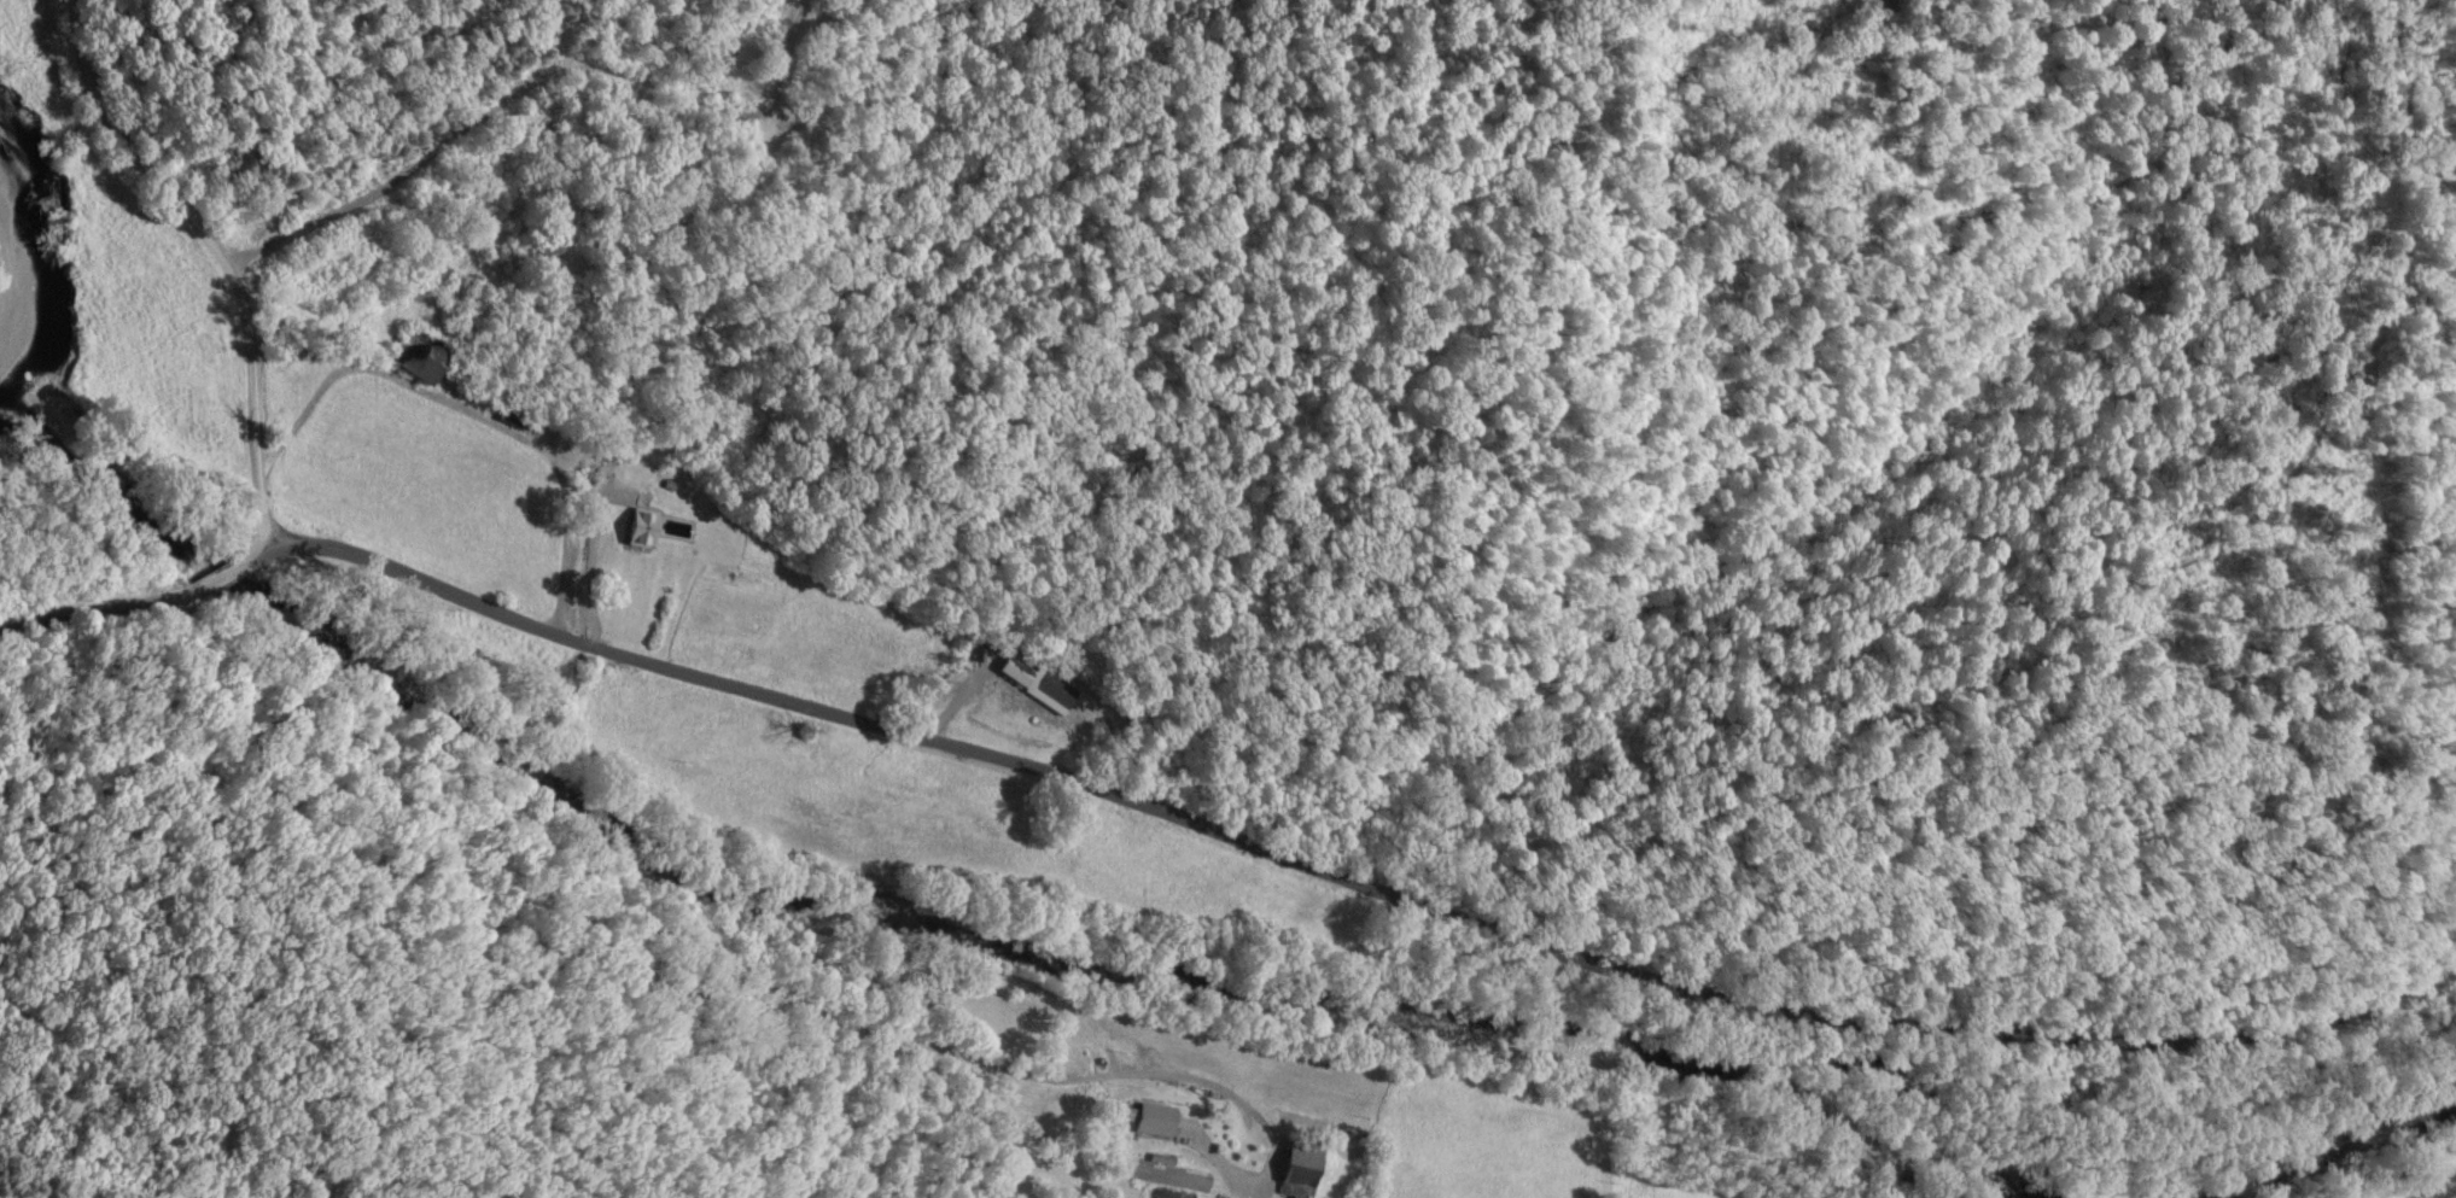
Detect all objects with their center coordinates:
road: (525, 99)
road: (203, 263)
river: (40, 292)
building: (418, 367)
road: (450, 437)
building: (634, 532)
road: (576, 585)
building: (1038, 686)
road: (731, 802)
road: (1221, 858)
road: (704, 895)
road: (2032, 1120)
building: (1291, 1171)
building: (1166, 1196)

